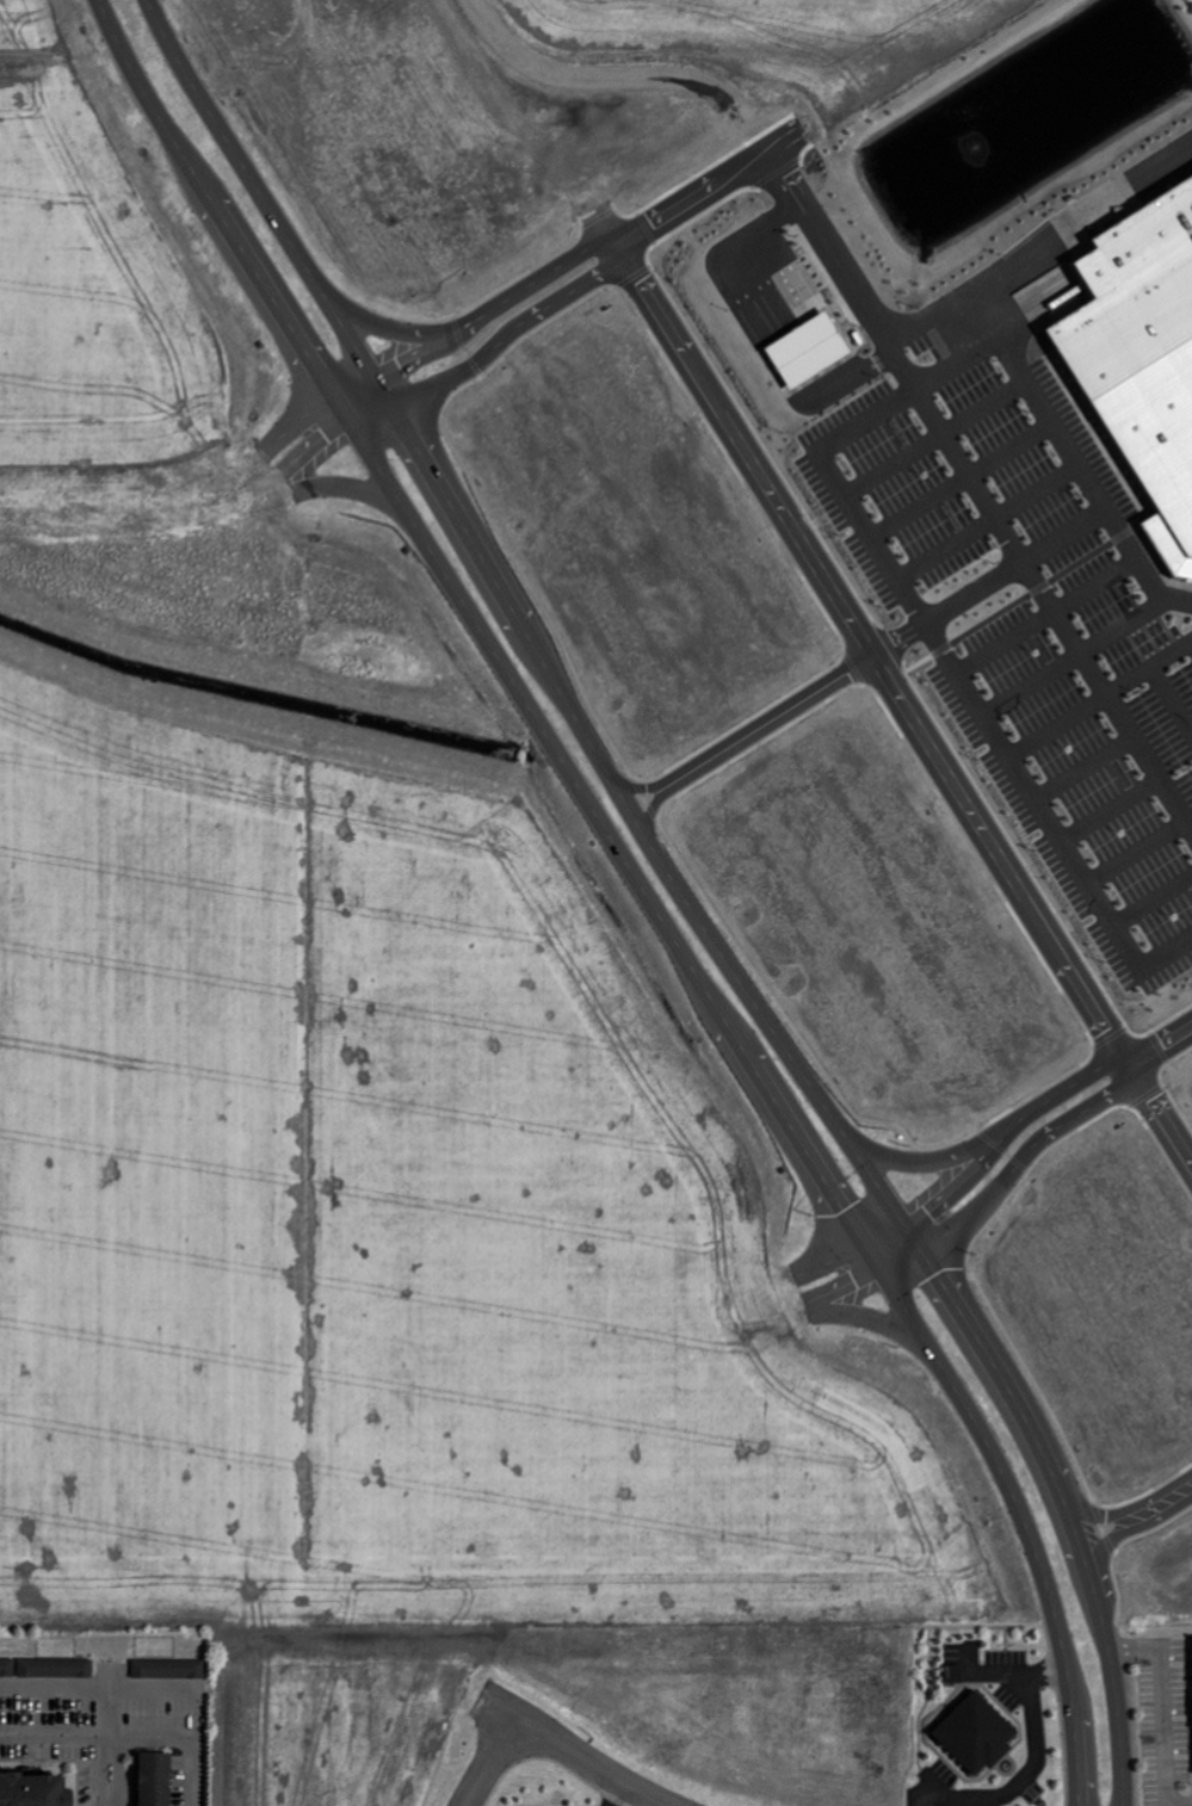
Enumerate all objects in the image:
road: (799, 188)
road: (616, 247)
road: (944, 310)
road: (393, 330)
building: (1135, 345)
building: (810, 350)
gas station: (808, 351)
road: (368, 407)
road: (1062, 437)
road: (938, 438)
road: (964, 480)
road: (992, 522)
road: (990, 583)
road: (1042, 589)
road: (1038, 590)
parking lot: (1032, 606)
road: (1054, 608)
road: (1049, 616)
road: (943, 650)
road: (1076, 658)
road: (1150, 668)
road: (913, 669)
road: (968, 685)
road: (897, 692)
road: (1173, 697)
road: (771, 722)
road: (1061, 726)
road: (1086, 768)
road: (642, 786)
road: (656, 810)
road: (1113, 811)
road: (1141, 854)
road: (641, 883)
road: (680, 889)
road: (1154, 902)
road: (1162, 1047)
road: (1130, 1066)
road: (928, 1161)
road: (931, 1230)
road: (898, 1253)
road: (1168, 1502)
road: (1108, 1517)
road: (1117, 1541)
road: (1049, 1663)
building: (7, 1666)
building: (56, 1668)
building: (169, 1669)
building: (955, 1674)
road: (988, 1675)
road: (1051, 1677)
road: (1167, 1711)
building: (978, 1733)
road: (112, 1737)
road: (575, 1755)
road: (488, 1762)
building: (156, 1779)
road: (1019, 1780)
building: (30, 1790)
road: (618, 1794)

